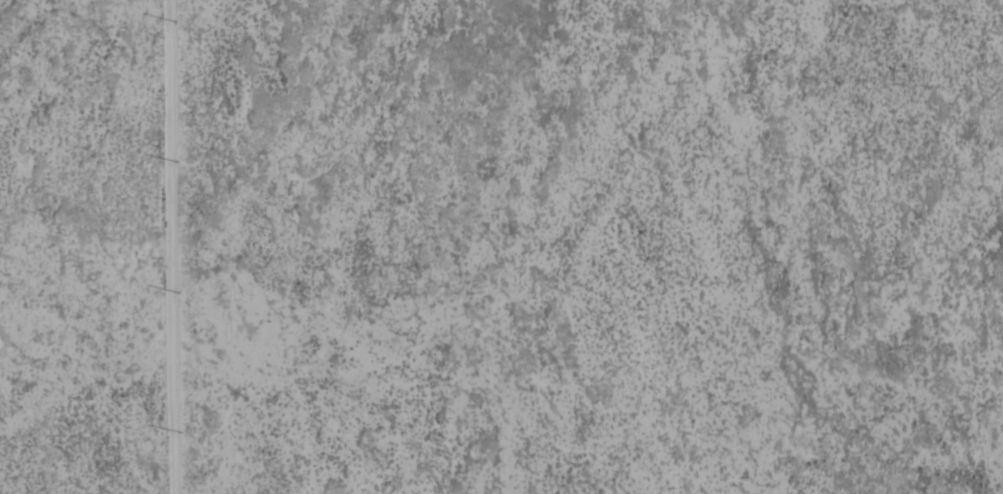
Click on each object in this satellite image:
road: (121, 247)
railway: (97, 288)
railway: (91, 300)

